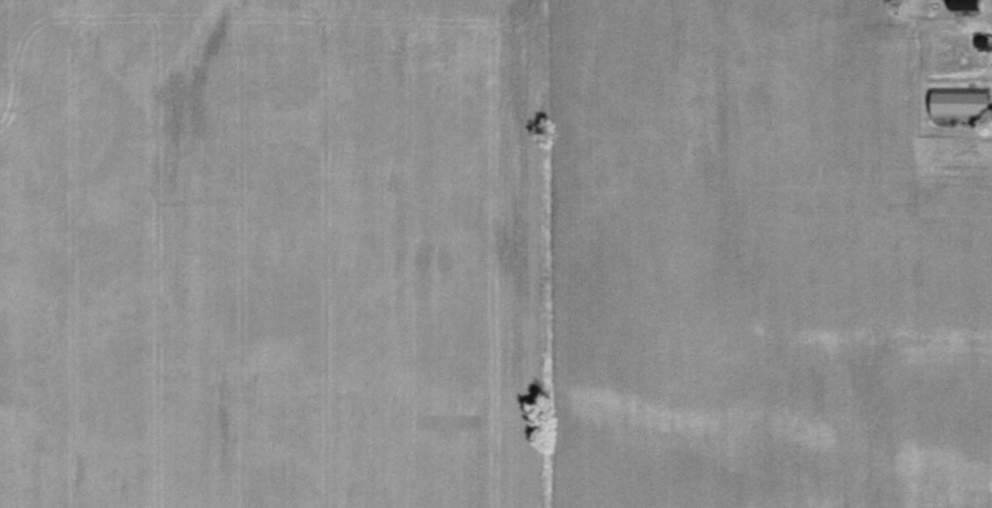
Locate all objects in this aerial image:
road: (987, 34)

